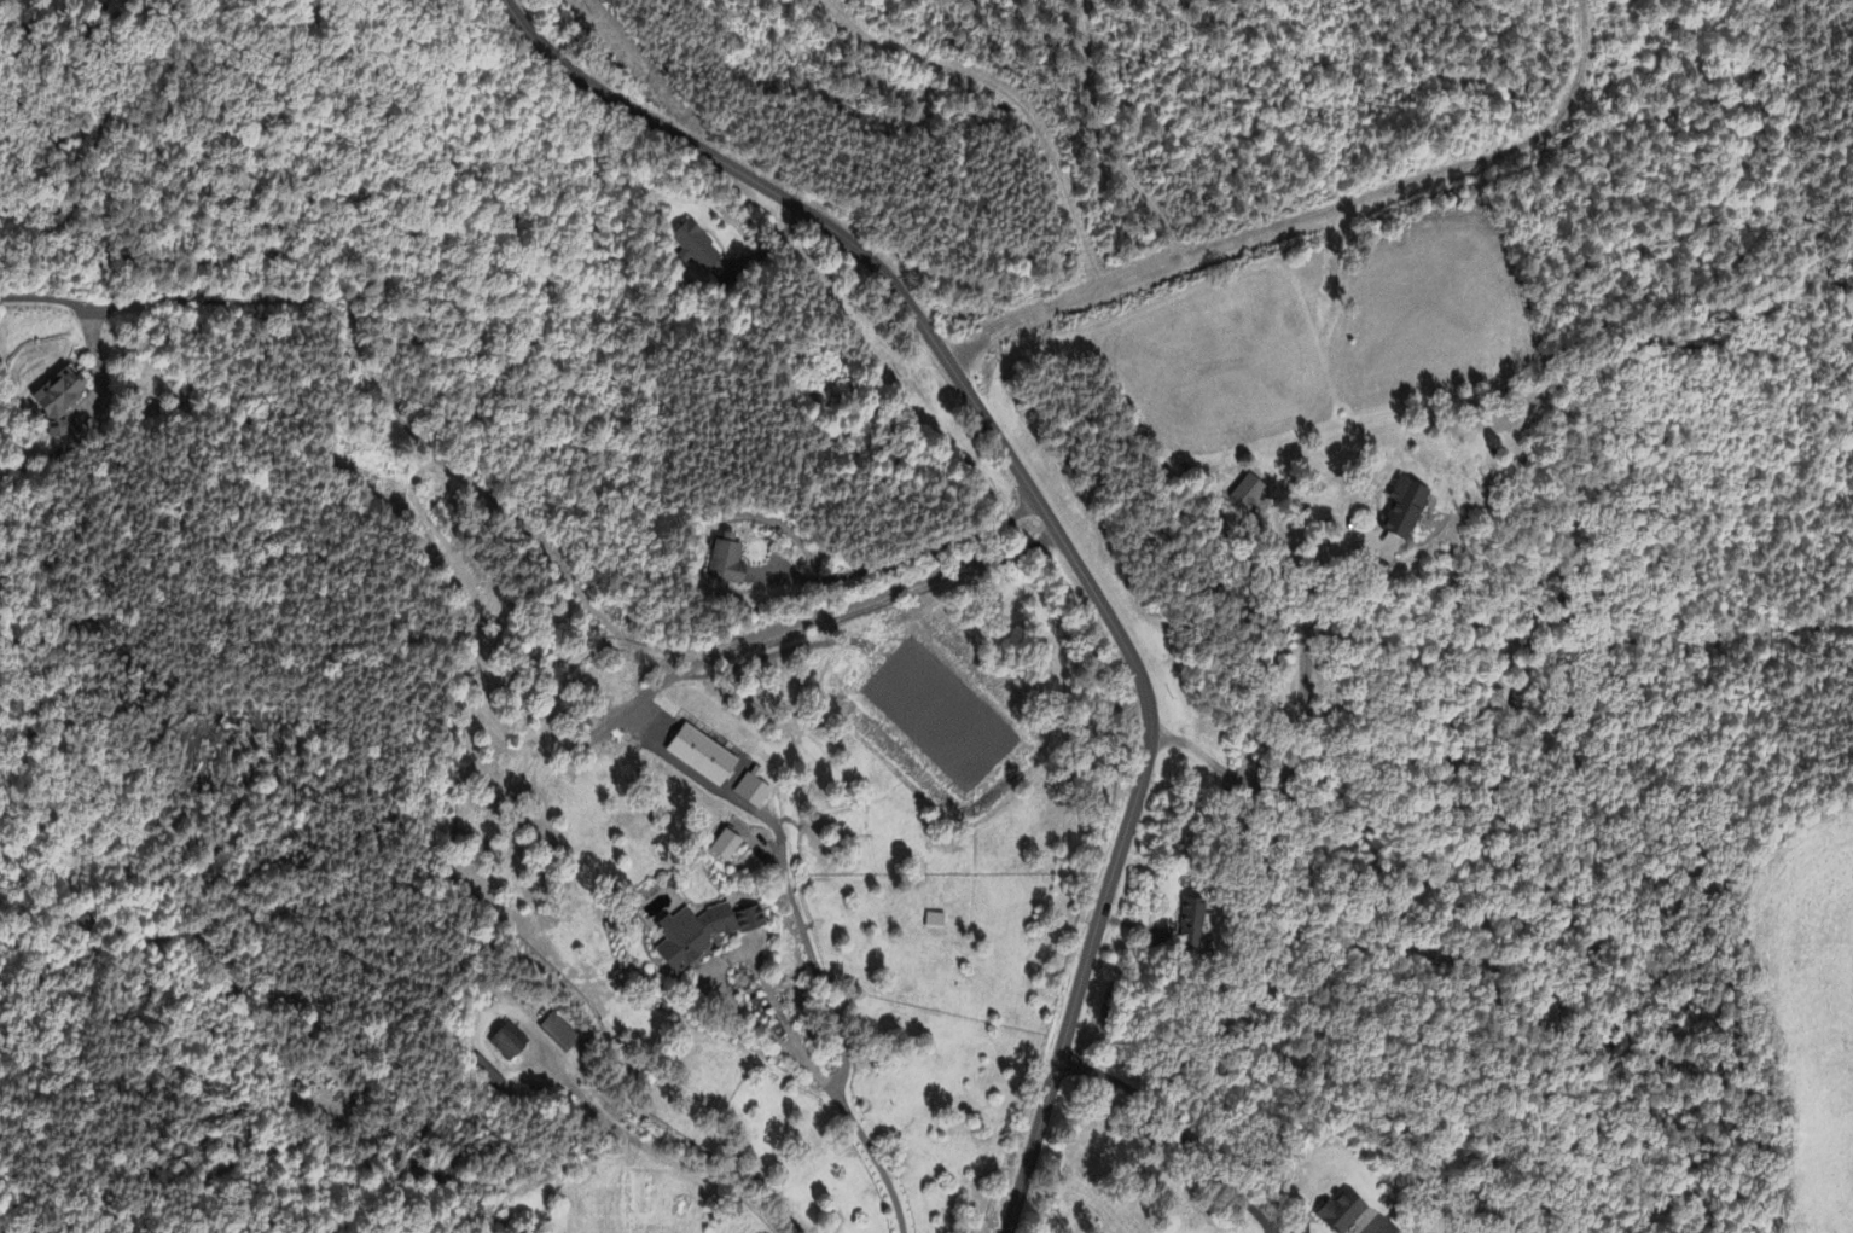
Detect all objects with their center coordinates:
building: (697, 249)
road: (51, 306)
building: (59, 400)
building: (1249, 493)
building: (1408, 510)
road: (1046, 517)
road: (905, 559)
building: (727, 564)
road: (1301, 740)
building: (704, 756)
road: (690, 769)
building: (753, 790)
building: (730, 847)
building: (1192, 925)
building: (709, 935)
building: (559, 1034)
road: (789, 1042)
building: (510, 1043)
road: (1183, 1139)
building: (1343, 1214)

